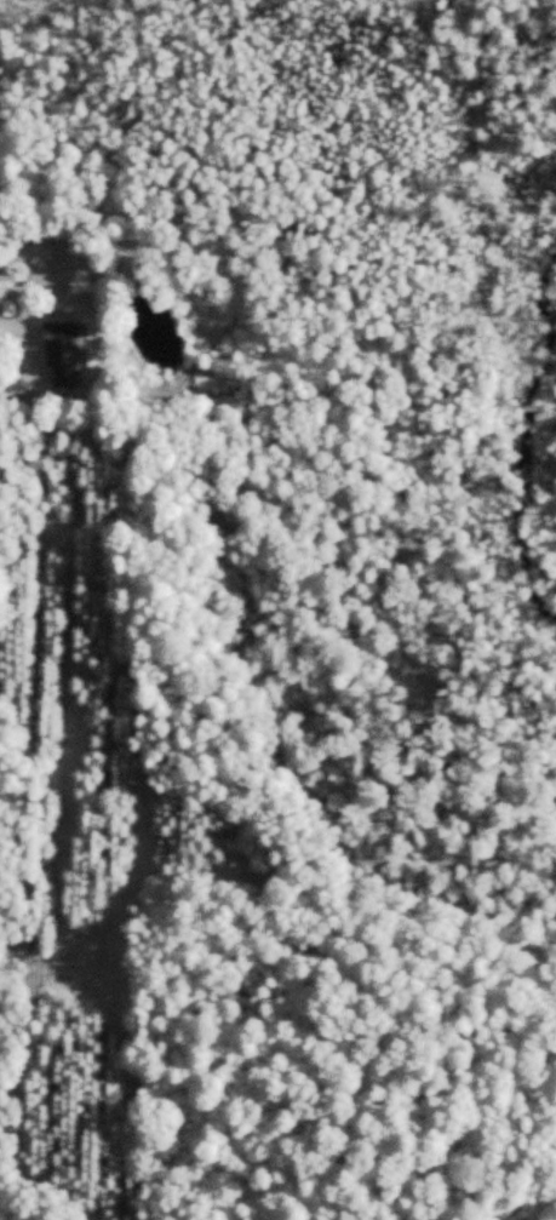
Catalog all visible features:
building: (62, 351)

